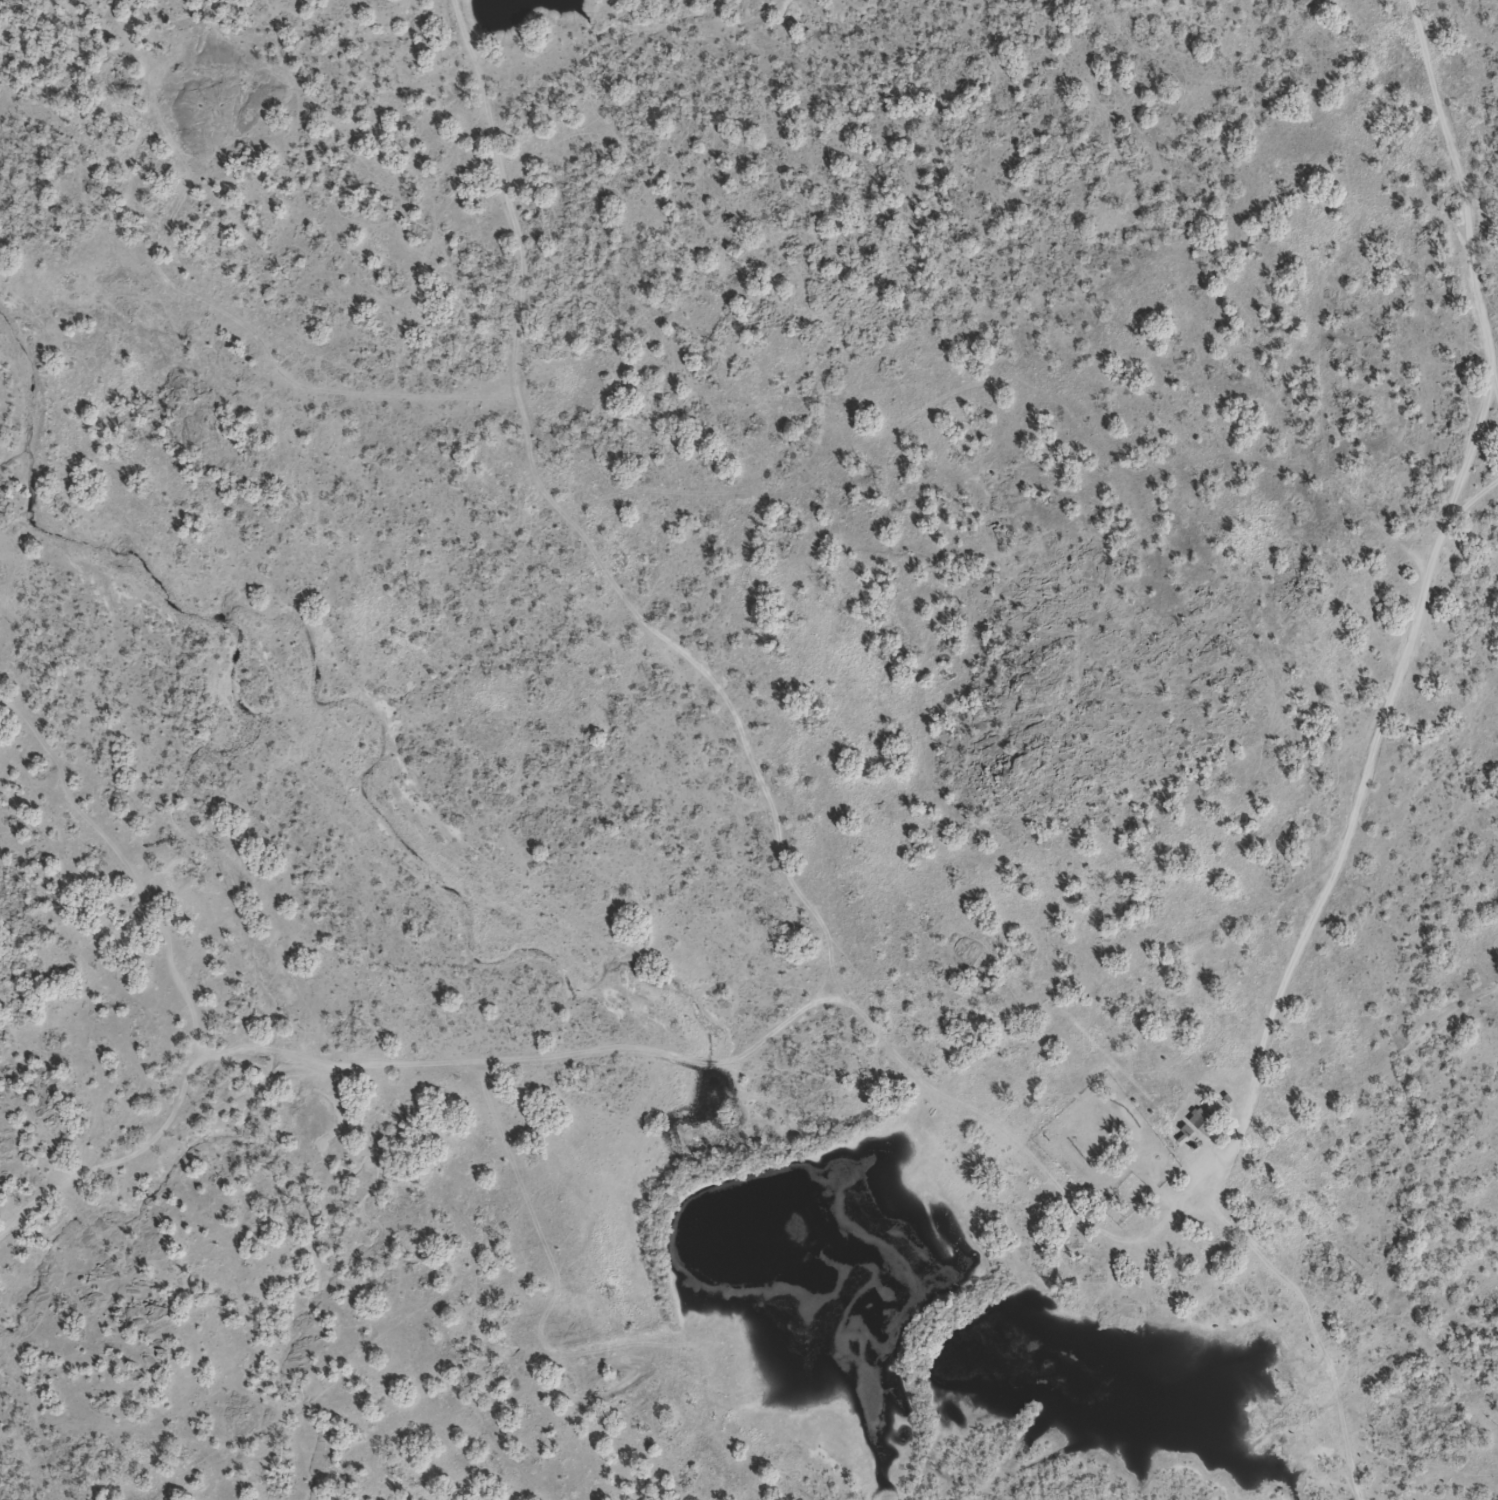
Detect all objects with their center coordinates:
road: (1454, 185)
road: (1479, 420)
road: (886, 1055)
road: (394, 1062)
building: (1207, 1121)

